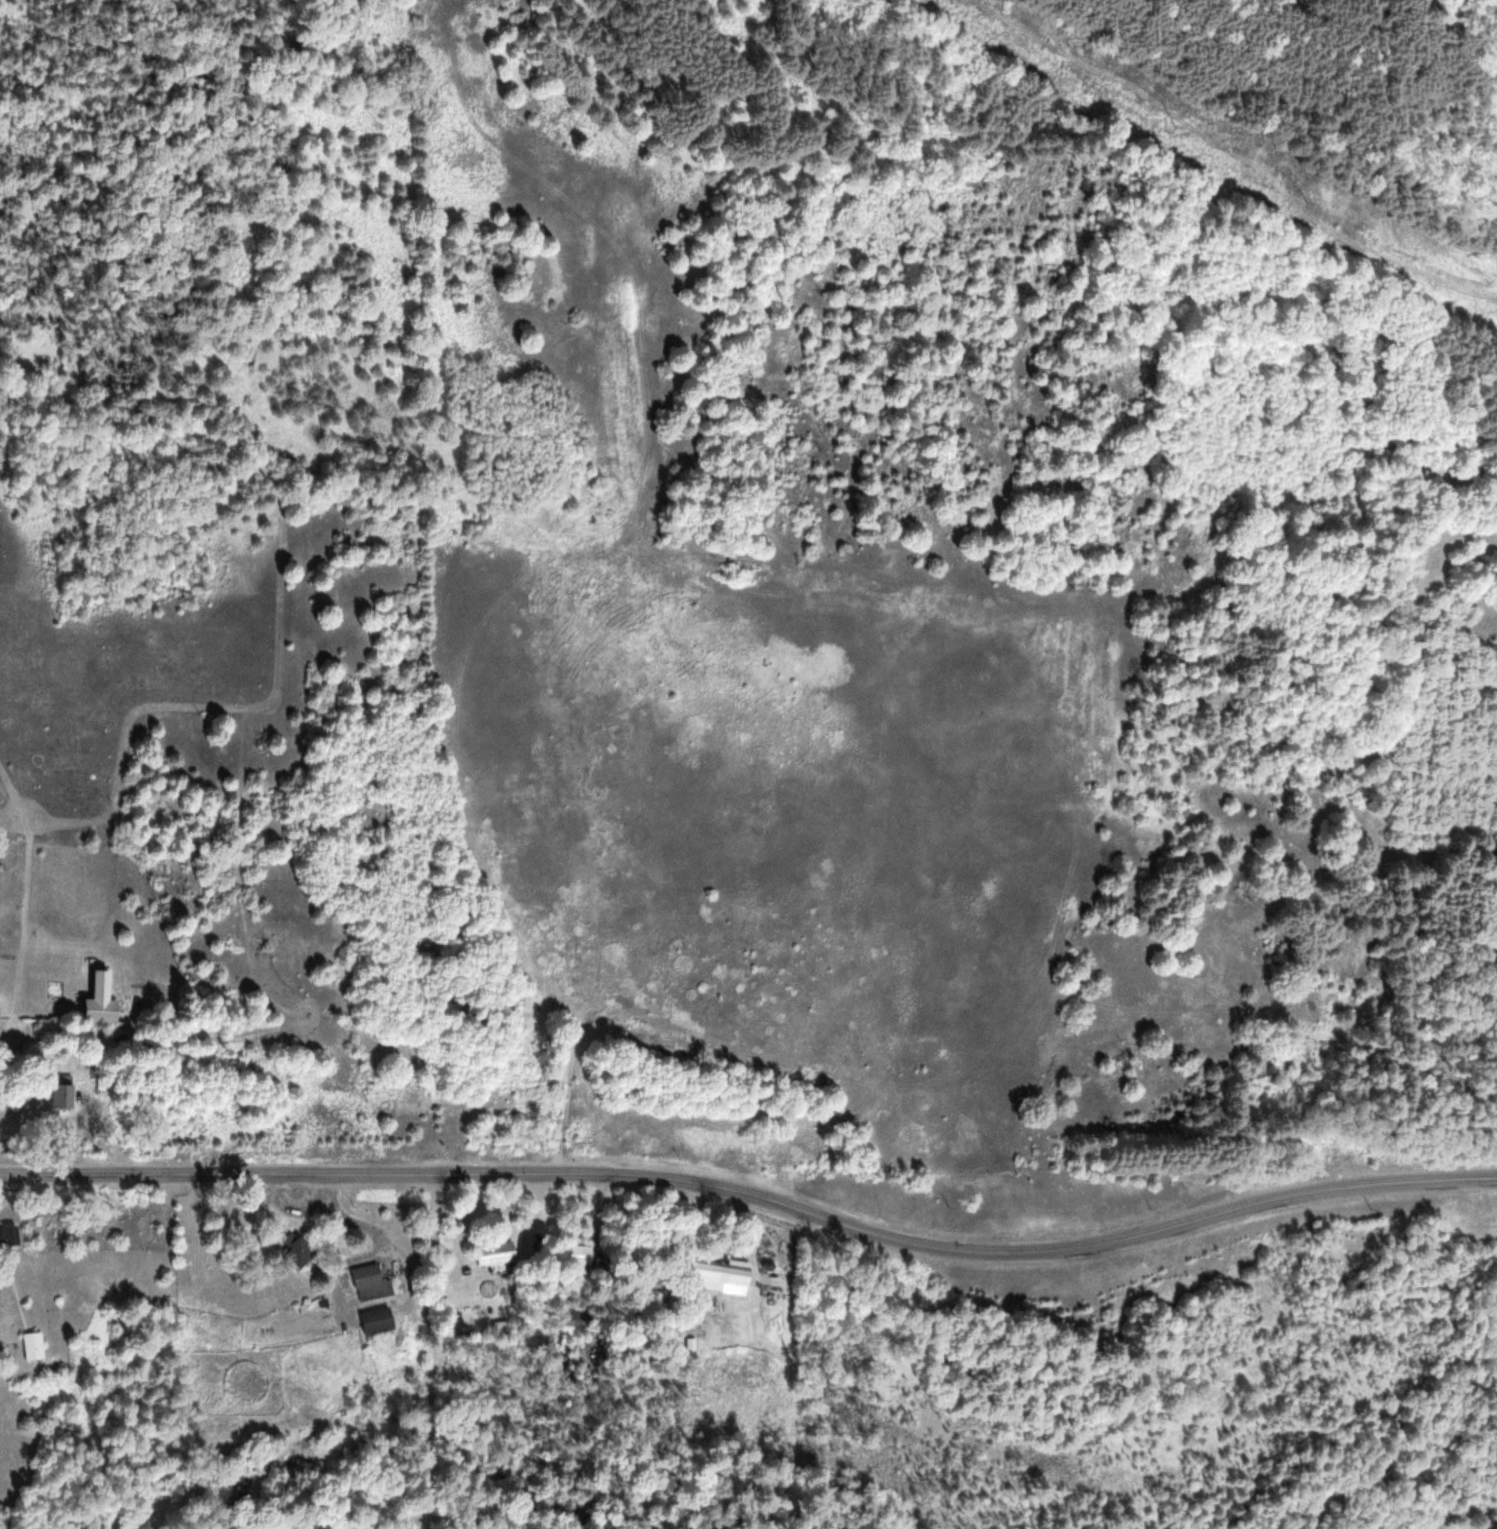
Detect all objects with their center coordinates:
building: (102, 999)
building: (64, 1095)
road: (755, 1198)
building: (10, 1237)
building: (298, 1248)
building: (497, 1254)
building: (579, 1254)
building: (722, 1276)
building: (372, 1282)
building: (379, 1320)
building: (34, 1346)

